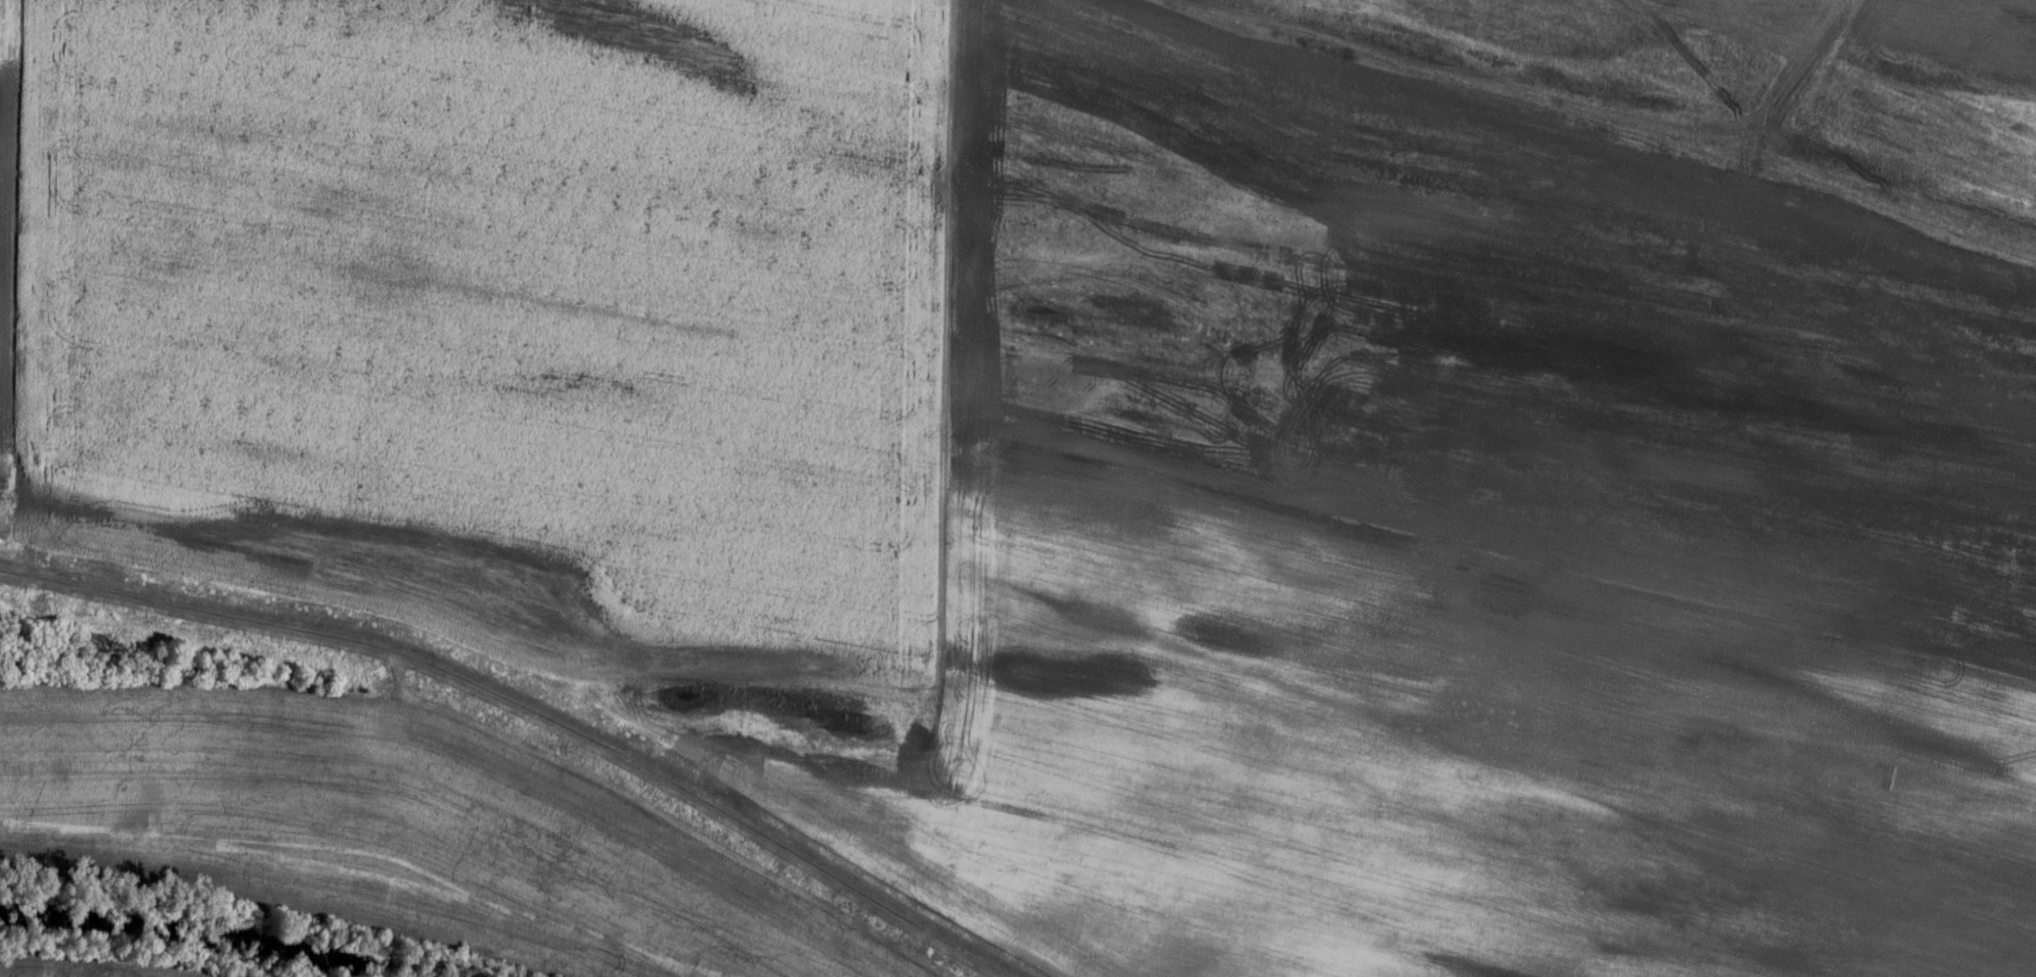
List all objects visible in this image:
road: (928, 600)
road: (525, 710)

